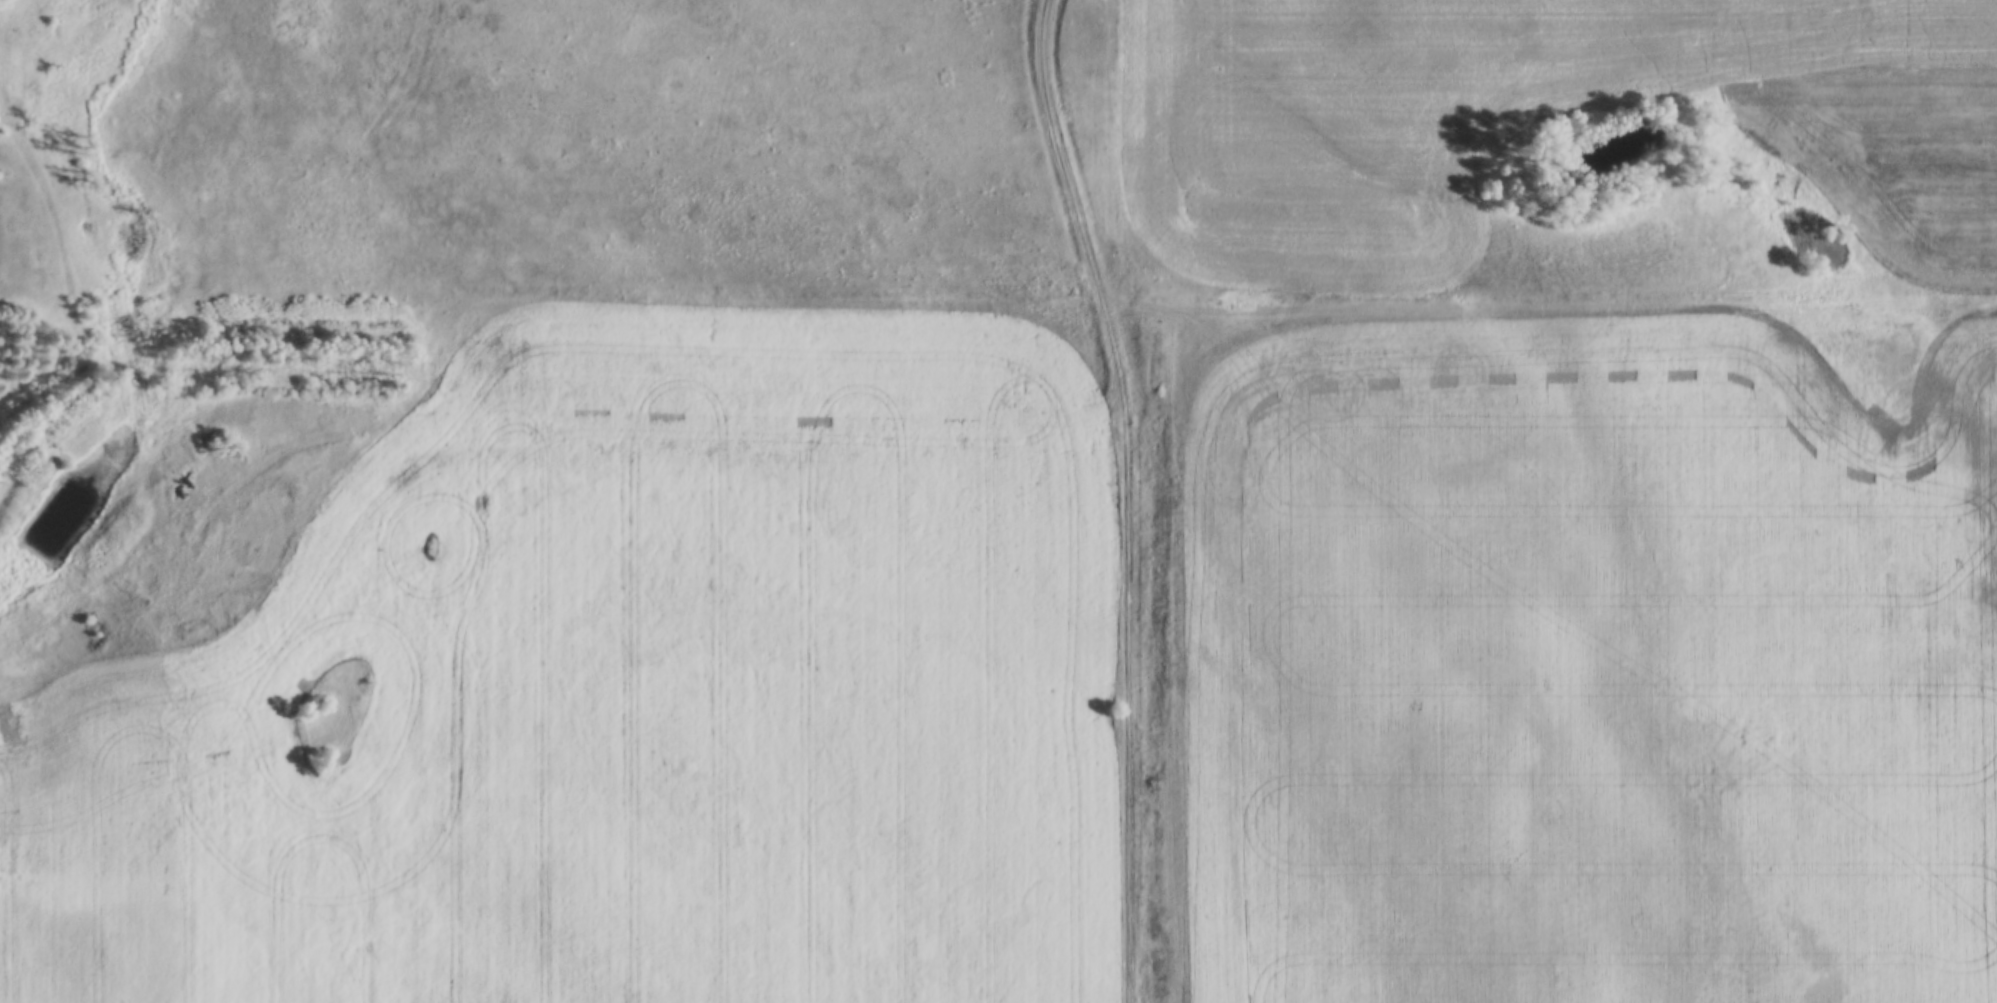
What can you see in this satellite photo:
road: (1129, 496)

